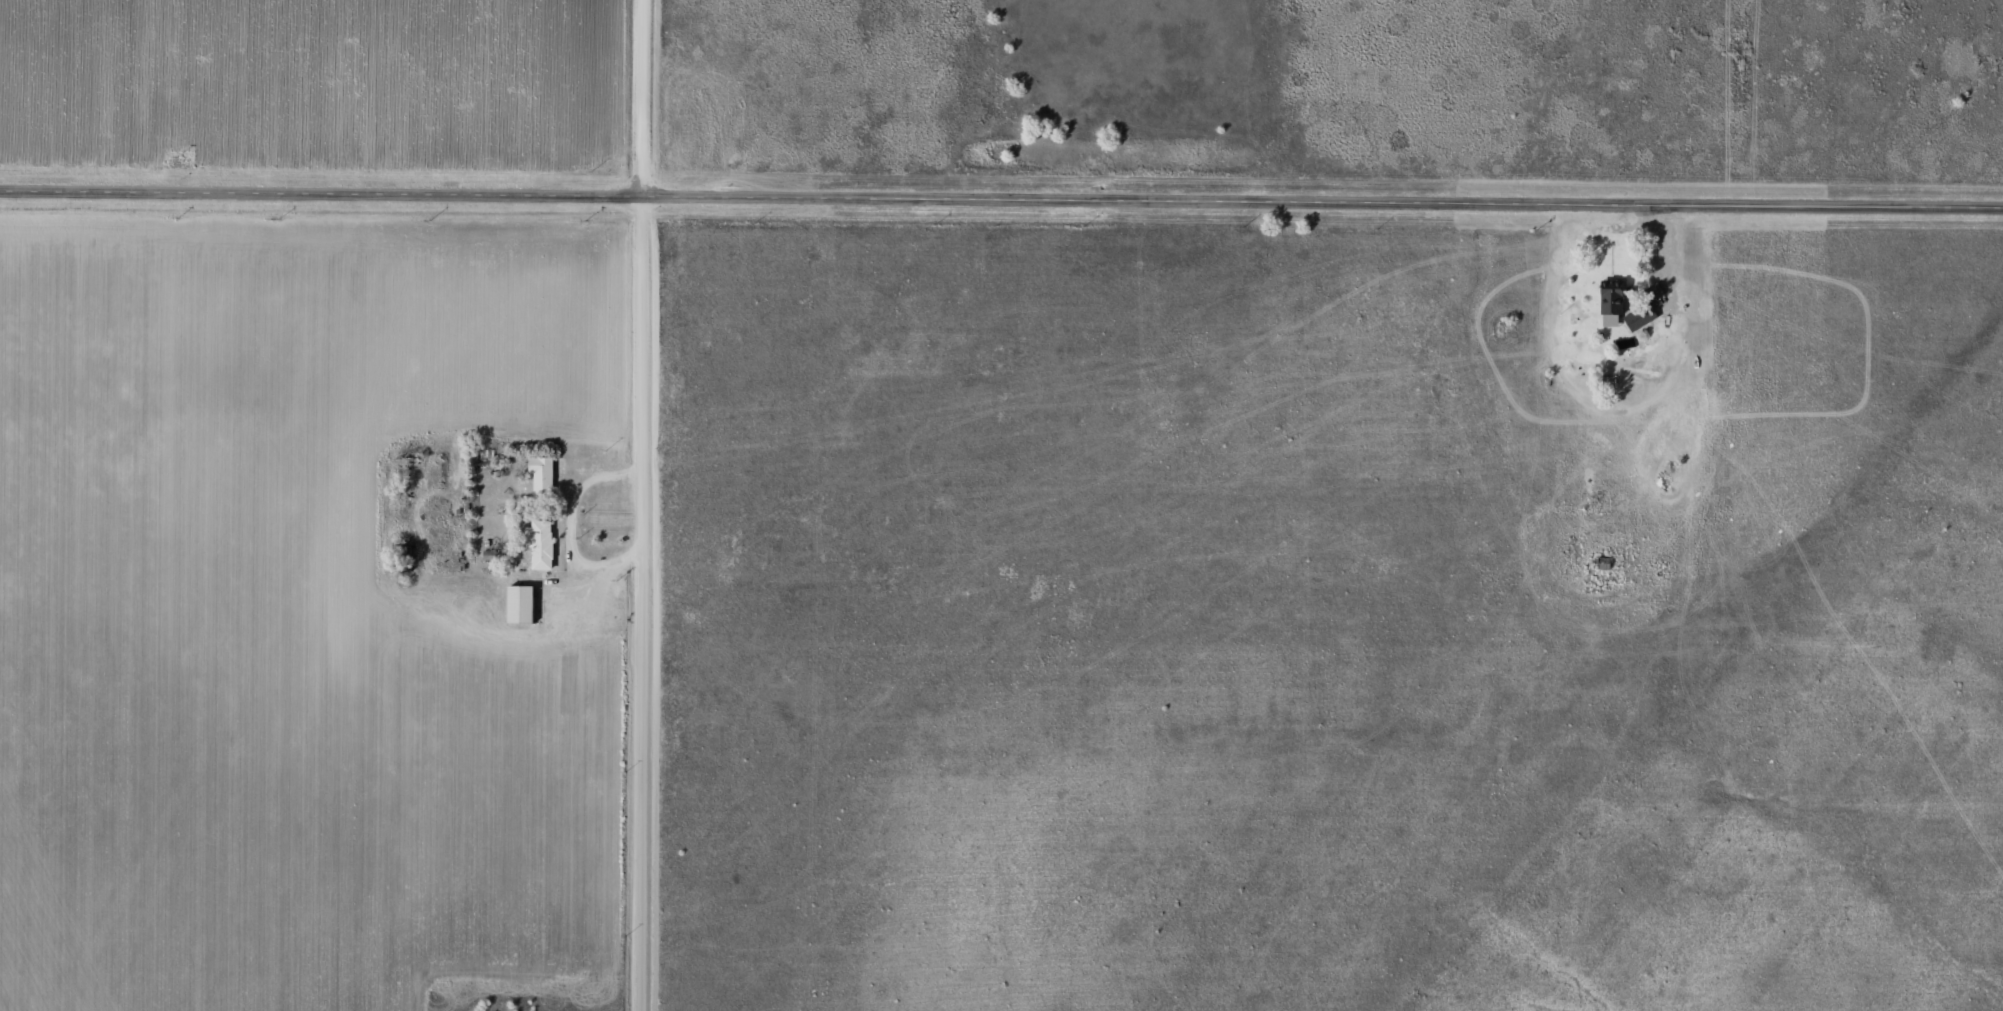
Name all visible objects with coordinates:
road: (1001, 192)
building: (1607, 307)
building: (1639, 320)
building: (539, 477)
road: (644, 505)
road: (569, 524)
building: (539, 546)
building: (516, 606)

